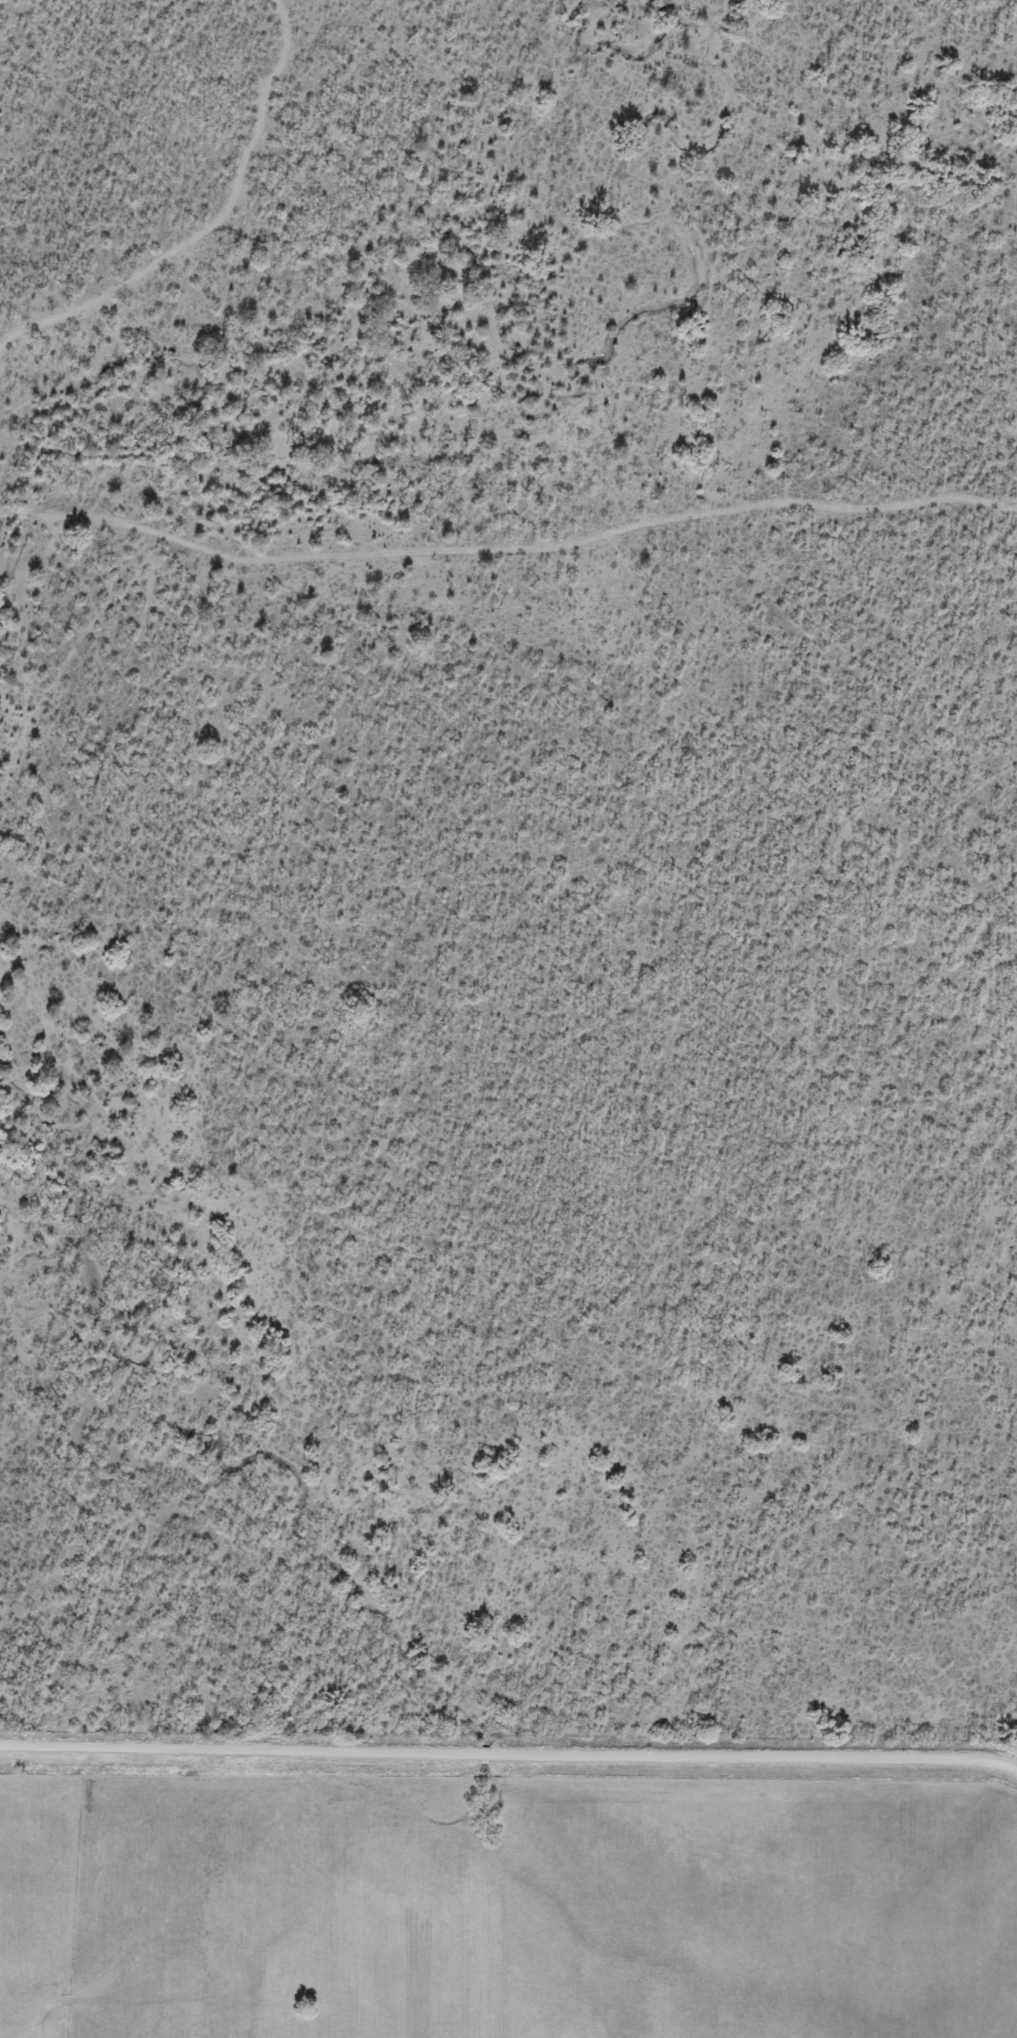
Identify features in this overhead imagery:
road: (509, 1760)

